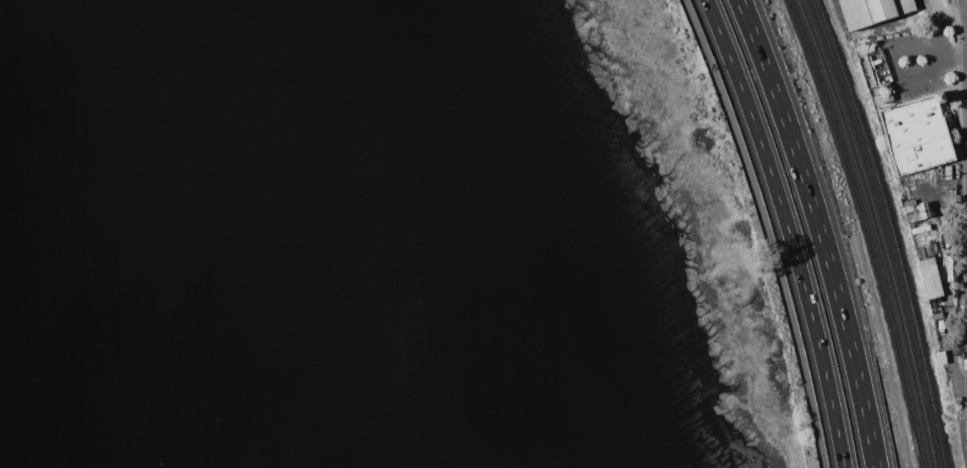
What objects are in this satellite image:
building: (872, 11)
road: (941, 39)
road: (956, 55)
building: (883, 96)
road: (749, 113)
building: (916, 134)
building: (948, 173)
building: (950, 192)
road: (766, 230)
road: (819, 230)
railway: (865, 230)
railway: (877, 230)
railway: (890, 230)
building: (930, 248)
building: (921, 252)
building: (930, 278)
road: (818, 347)

